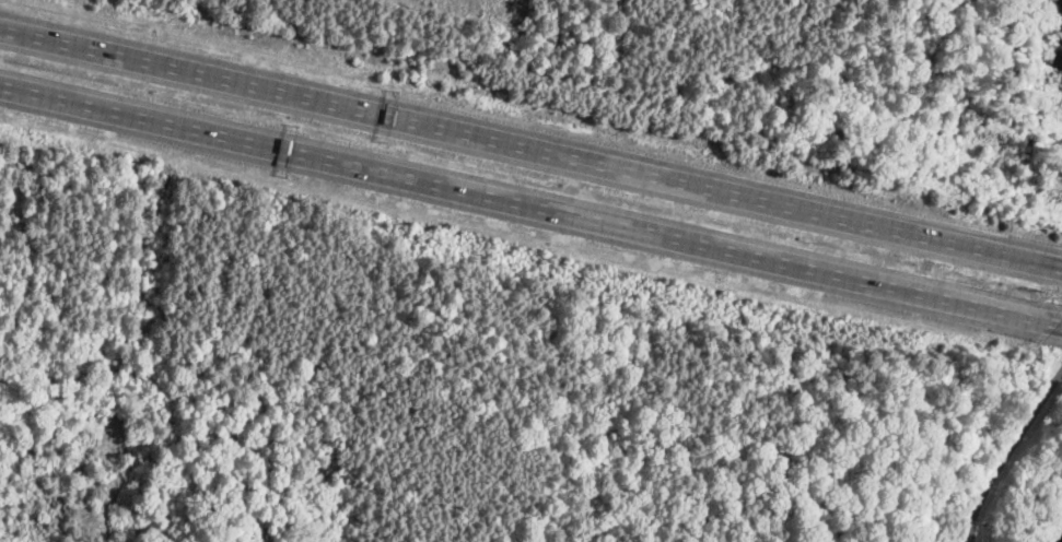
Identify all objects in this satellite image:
park: (1027, 101)
road: (530, 146)
road: (530, 207)
road: (1005, 450)
park: (1012, 471)

